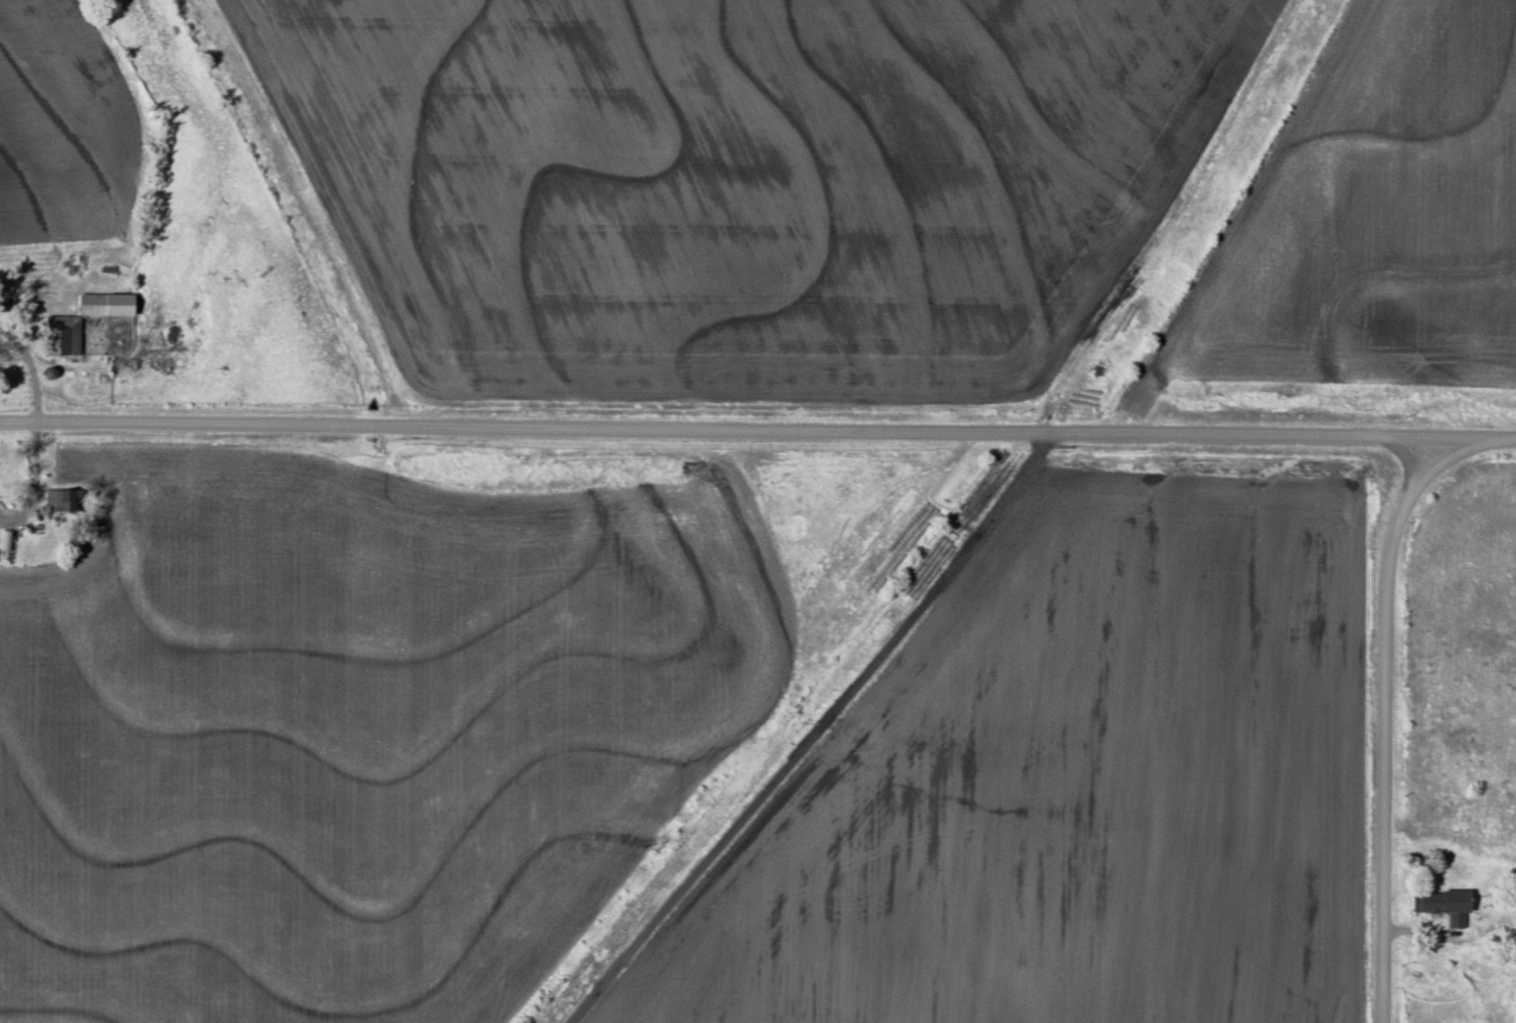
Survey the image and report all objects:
crop: (1367, 222)
building: (63, 324)
road: (29, 371)
building: (79, 378)
road: (757, 431)
building: (57, 502)
building: (6, 543)
road: (1385, 723)
crop: (1076, 786)
building: (1444, 906)

